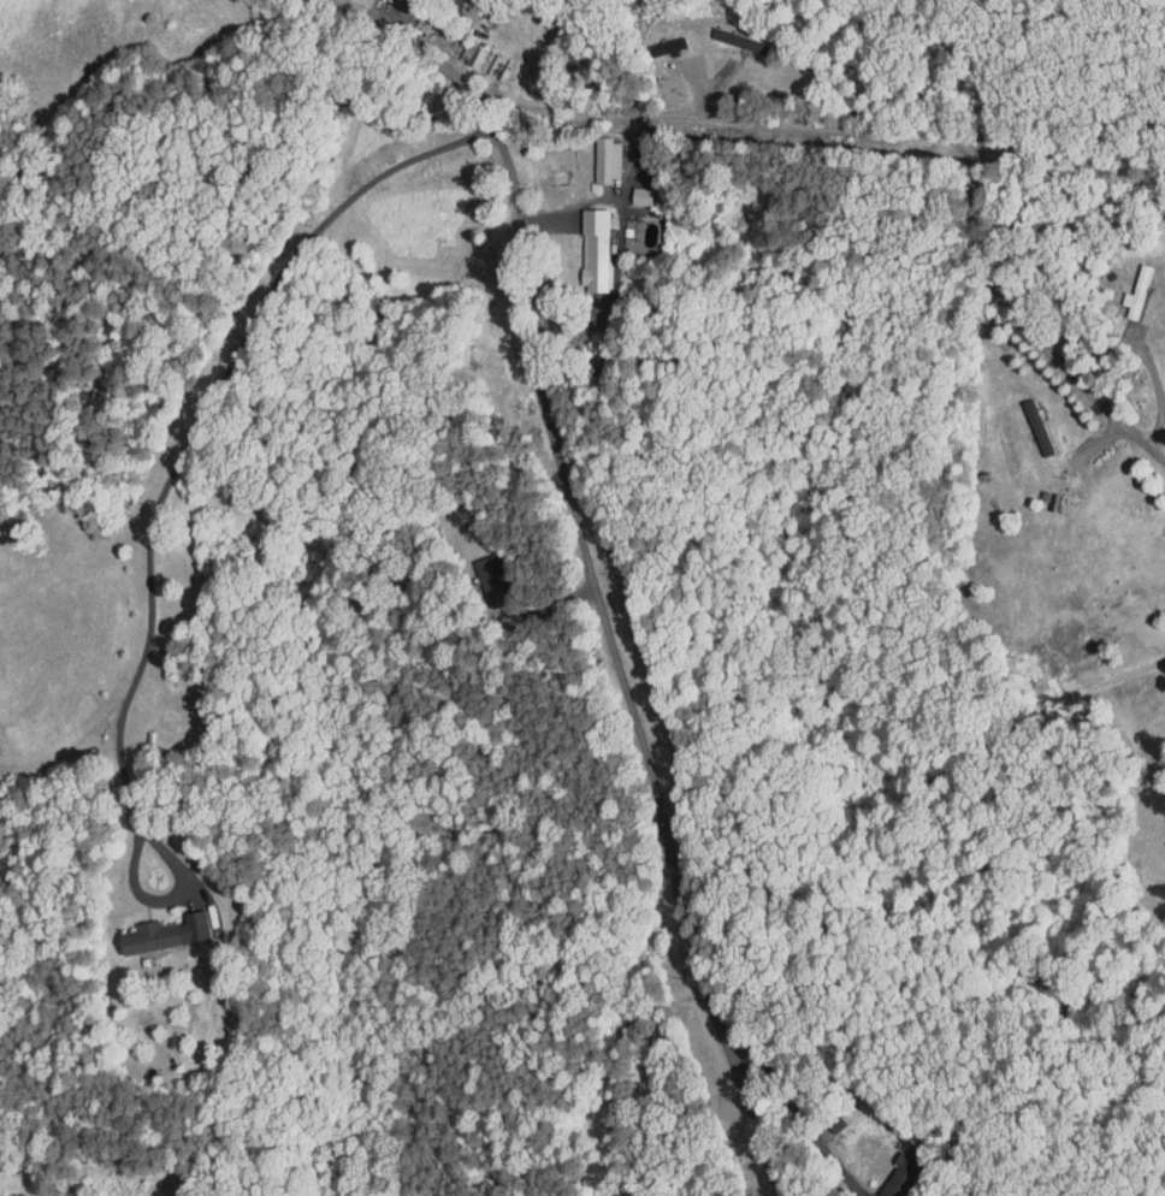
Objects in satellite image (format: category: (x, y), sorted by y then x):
building: (445, 2)
building: (731, 36)
building: (654, 40)
building: (459, 49)
road: (803, 124)
road: (1029, 149)
building: (592, 153)
building: (626, 189)
road: (550, 203)
road: (794, 207)
building: (580, 241)
building: (1123, 285)
road: (1157, 383)
building: (1023, 420)
road: (158, 507)
building: (478, 574)
road: (614, 664)
building: (148, 925)
road: (797, 1111)
building: (885, 1170)

